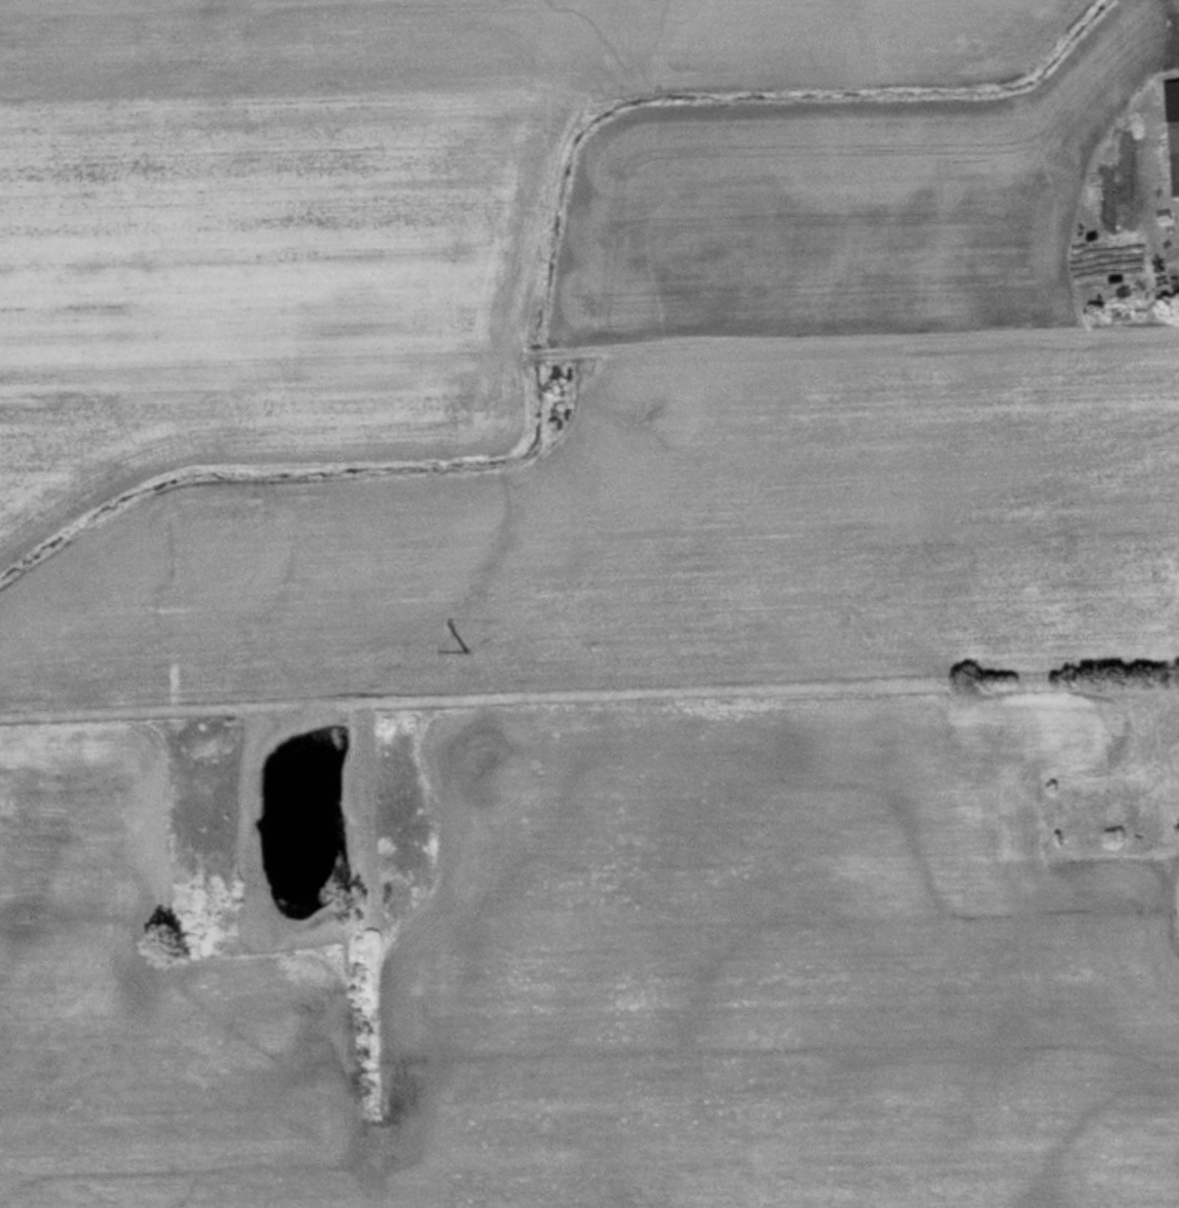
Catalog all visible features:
building: (1177, 159)
power tower: (469, 655)

